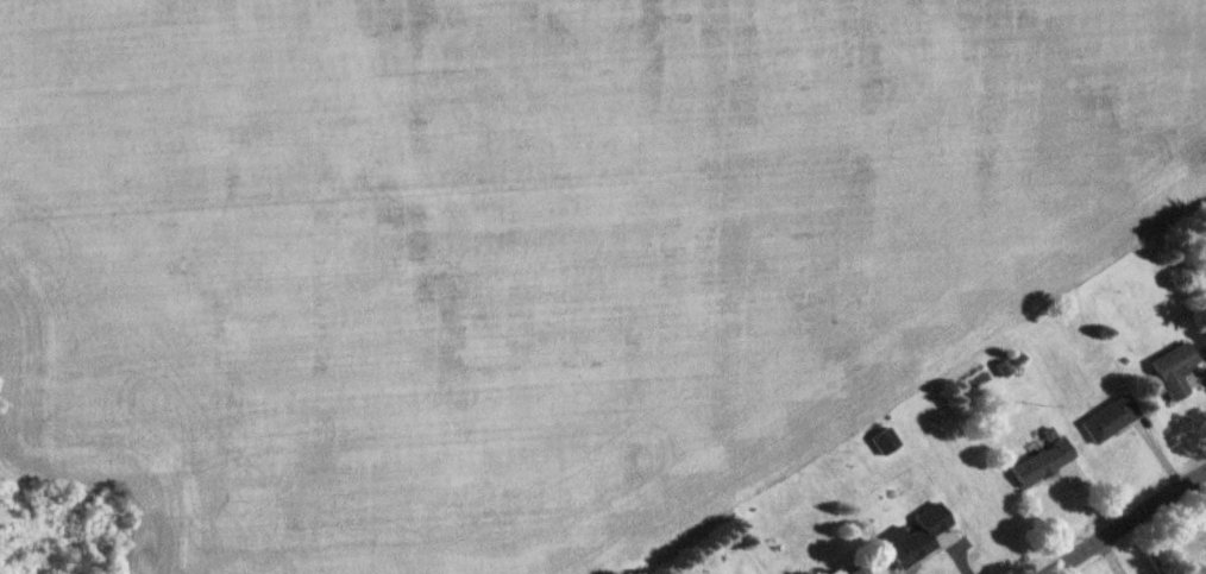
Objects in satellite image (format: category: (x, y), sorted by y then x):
building: (1177, 370)
building: (1107, 418)
building: (884, 440)
building: (1041, 461)
road: (1126, 521)
building: (915, 536)
building: (854, 570)
building: (836, 572)

